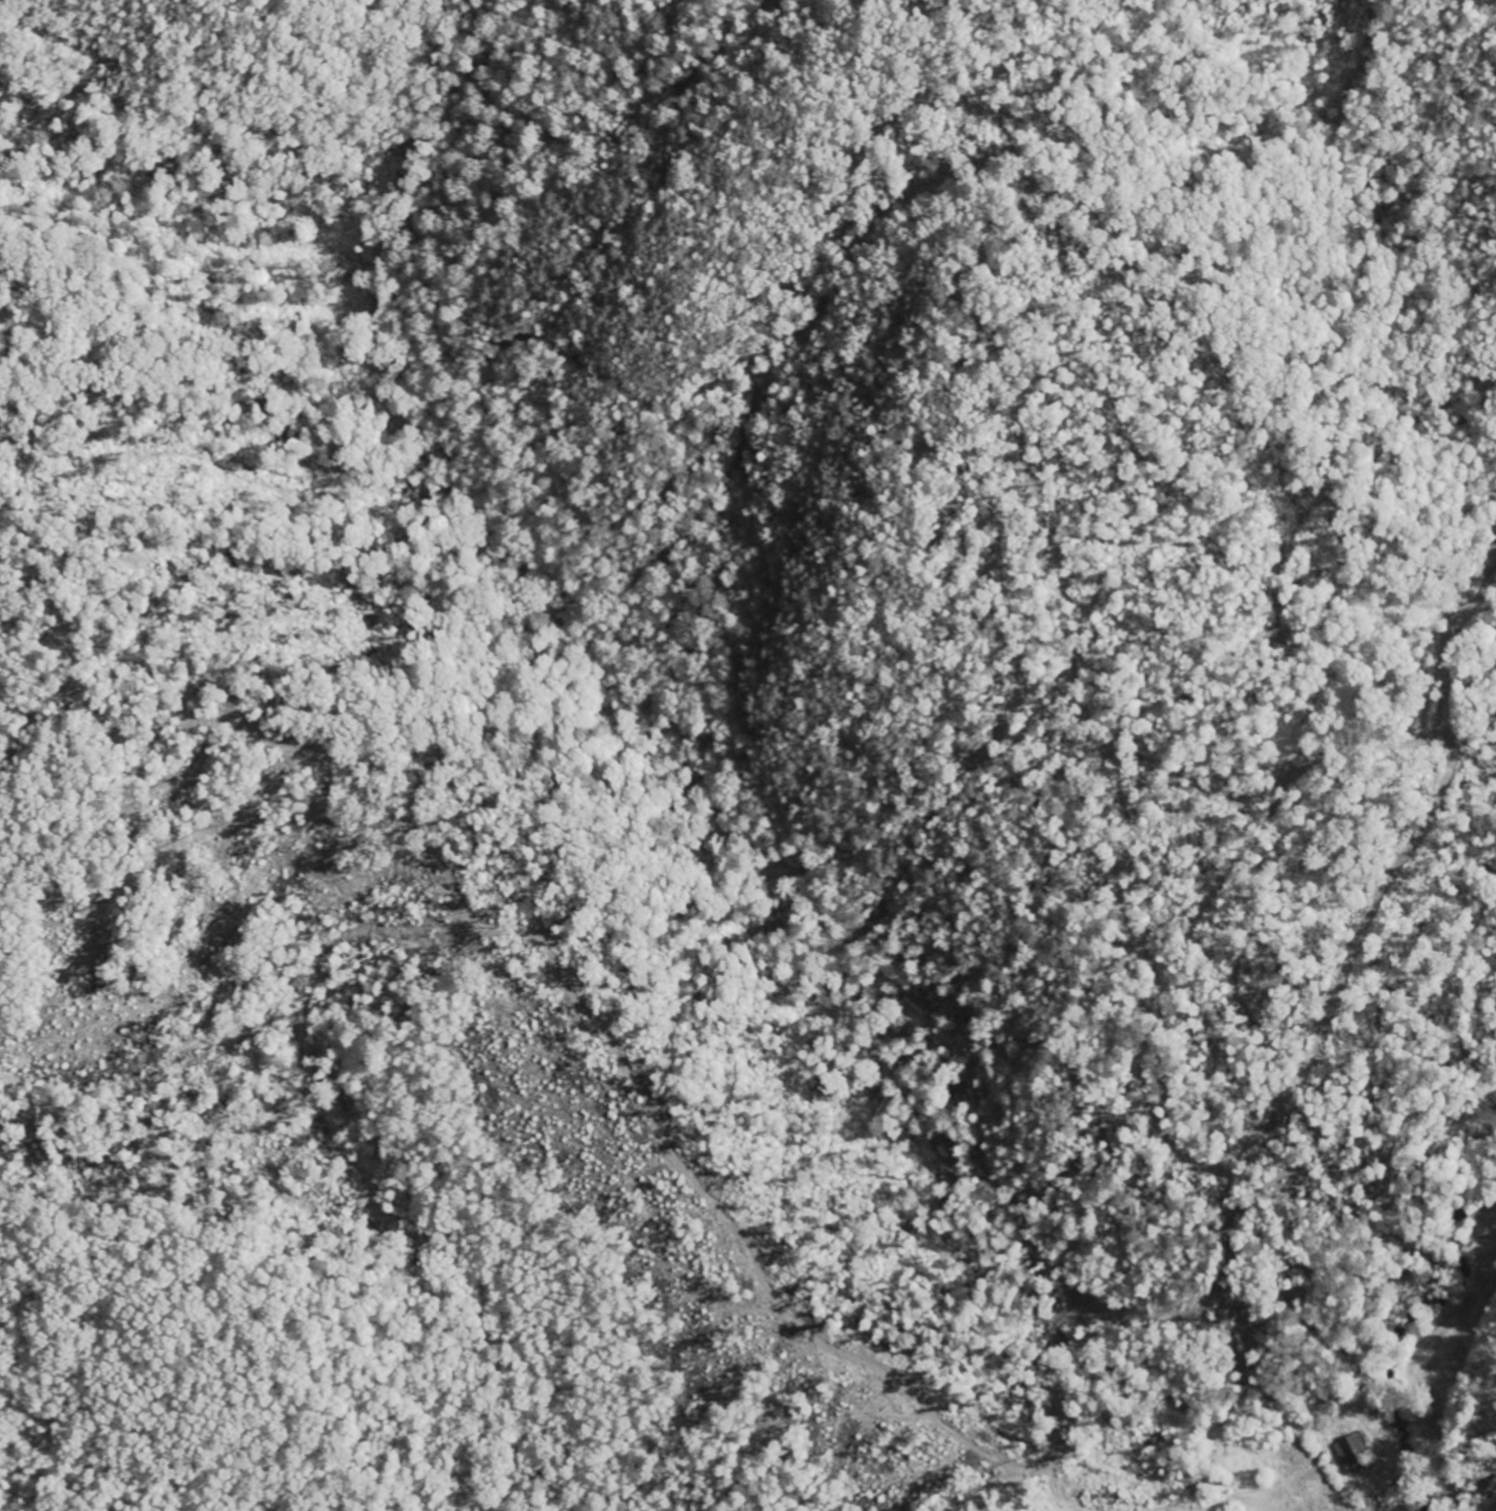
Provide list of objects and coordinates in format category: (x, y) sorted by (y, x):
building: (1352, 1452)

